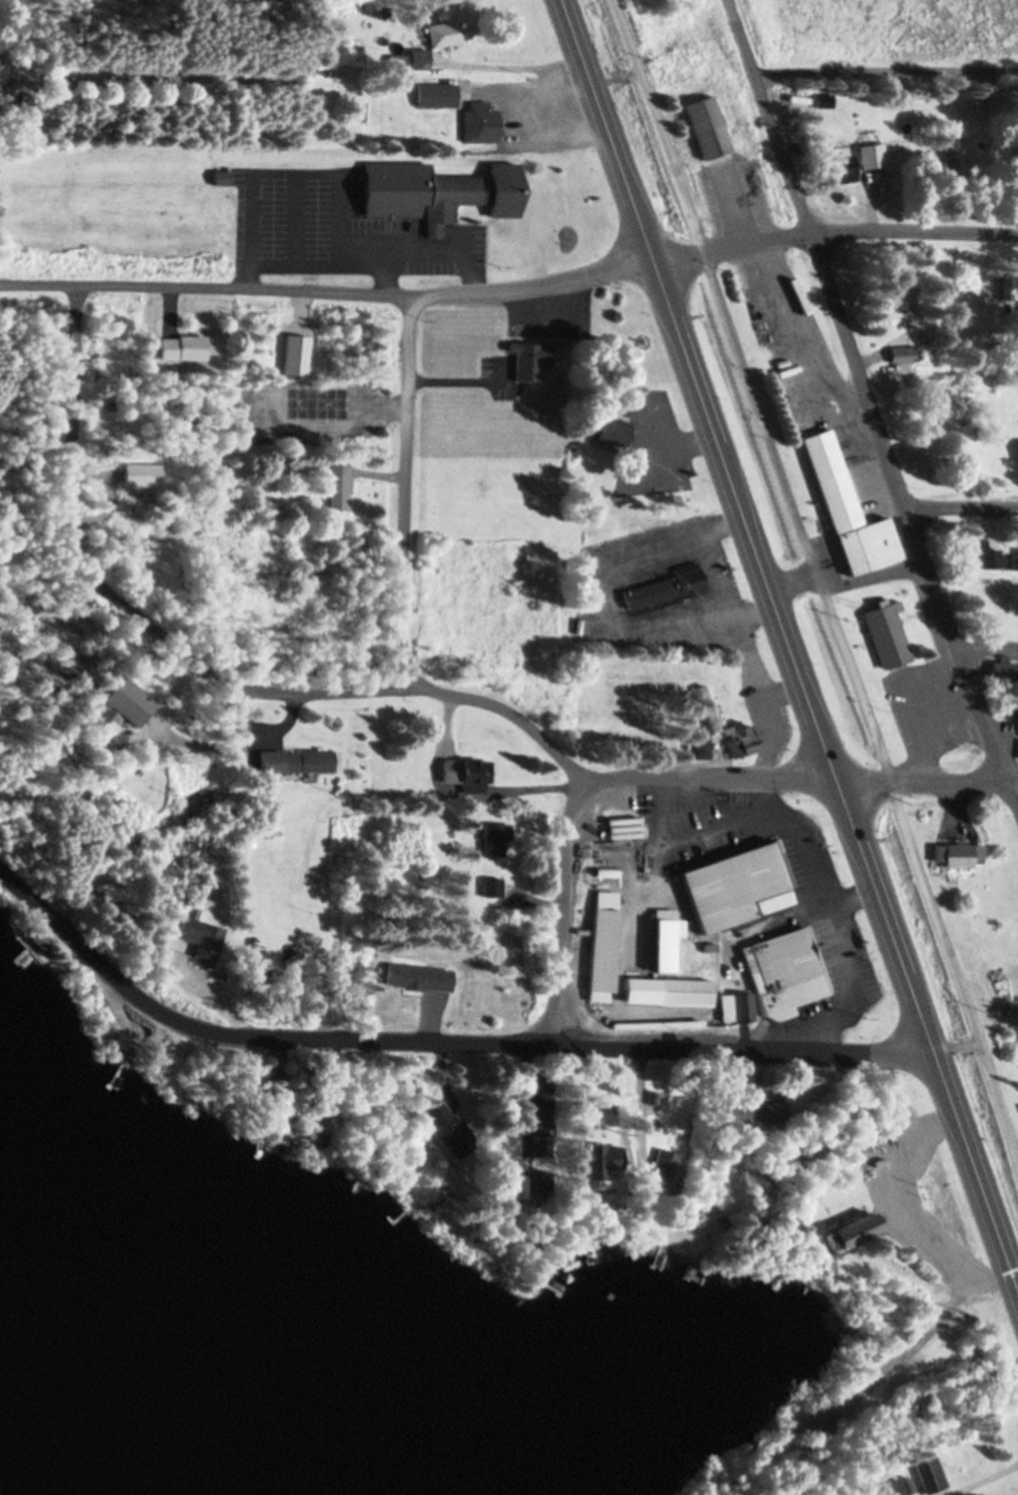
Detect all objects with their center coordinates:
building: (385, 7)
building: (444, 31)
building: (419, 57)
building: (399, 60)
road: (886, 69)
building: (437, 93)
building: (824, 101)
building: (359, 110)
building: (481, 121)
building: (707, 125)
building: (951, 150)
building: (872, 153)
building: (947, 166)
building: (845, 170)
building: (223, 174)
building: (237, 178)
building: (420, 189)
road: (833, 229)
building: (1007, 282)
road: (326, 291)
building: (899, 295)
building: (184, 344)
building: (936, 350)
building: (904, 355)
building: (530, 358)
road: (864, 391)
building: (611, 428)
building: (965, 448)
building: (1017, 452)
building: (339, 483)
road: (961, 507)
building: (849, 508)
building: (990, 557)
building: (1014, 559)
building: (669, 585)
road: (817, 586)
road: (118, 588)
road: (407, 595)
building: (886, 632)
road: (988, 646)
road: (789, 652)
building: (1002, 667)
building: (121, 700)
building: (708, 706)
building: (1013, 707)
building: (703, 729)
building: (741, 739)
building: (128, 745)
building: (699, 746)
building: (294, 758)
building: (466, 771)
road: (665, 790)
road: (1012, 799)
building: (492, 835)
building: (247, 841)
building: (955, 850)
building: (734, 883)
building: (490, 885)
building: (196, 935)
building: (39, 936)
building: (663, 937)
building: (600, 943)
building: (707, 945)
building: (781, 969)
building: (415, 975)
building: (666, 989)
building: (733, 1004)
building: (654, 1021)
building: (128, 1042)
road: (436, 1045)
building: (284, 1095)
building: (650, 1097)
building: (434, 1110)
building: (752, 1110)
building: (539, 1118)
building: (316, 1129)
building: (455, 1135)
building: (593, 1156)
building: (662, 1165)
building: (525, 1180)
building: (850, 1227)
building: (534, 1284)
building: (926, 1473)
building: (896, 1485)

